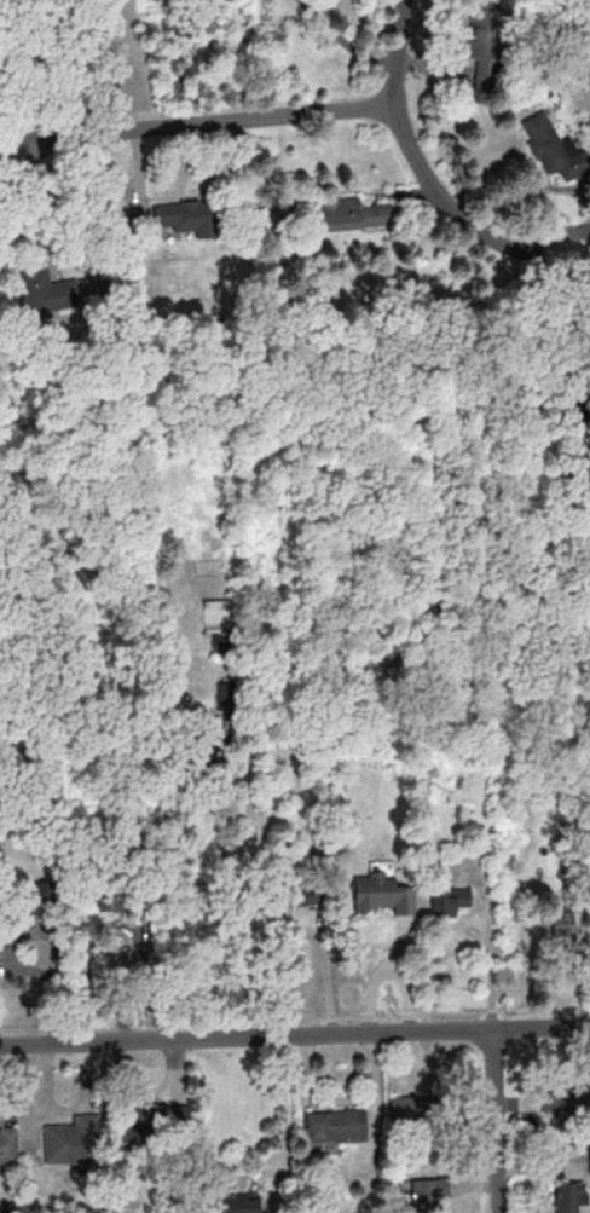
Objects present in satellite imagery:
building: (482, 30)
road: (18, 45)
road: (173, 63)
road: (13, 79)
road: (40, 115)
road: (198, 123)
road: (406, 132)
building: (555, 146)
road: (2, 161)
road: (108, 202)
building: (352, 213)
building: (187, 218)
road: (555, 233)
road: (505, 247)
road: (557, 265)
building: (45, 293)
building: (303, 894)
building: (383, 895)
building: (116, 896)
building: (34, 900)
building: (451, 900)
road: (237, 903)
building: (562, 923)
road: (490, 949)
road: (387, 971)
road: (294, 1034)
building: (565, 1102)
road: (289, 1103)
building: (410, 1108)
road: (501, 1121)
building: (156, 1122)
building: (334, 1125)
building: (74, 1140)
building: (8, 1146)
building: (428, 1196)
building: (571, 1196)
building: (231, 1203)

